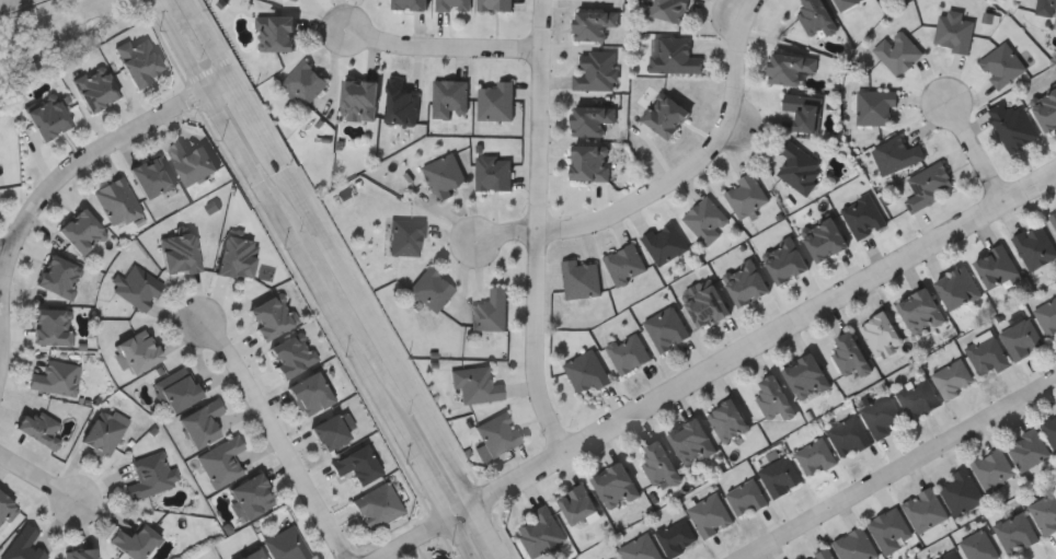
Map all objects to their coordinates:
building: (296, 0)
building: (885, 1)
building: (846, 2)
road: (11, 3)
building: (409, 4)
building: (494, 4)
building: (452, 5)
building: (1046, 7)
building: (668, 9)
building: (815, 16)
building: (593, 23)
building: (953, 32)
building: (276, 33)
road: (209, 38)
building: (897, 51)
road: (443, 54)
building: (673, 55)
building: (137, 60)
building: (1001, 65)
building: (789, 67)
building: (595, 69)
building: (303, 82)
building: (93, 90)
building: (449, 97)
building: (357, 100)
building: (495, 101)
building: (400, 103)
building: (874, 106)
building: (1045, 108)
building: (804, 110)
road: (251, 112)
building: (665, 115)
building: (590, 118)
building: (46, 119)
building: (1012, 125)
road: (976, 147)
building: (896, 154)
road: (696, 160)
building: (192, 162)
building: (588, 162)
building: (799, 167)
building: (492, 173)
building: (443, 175)
building: (149, 176)
road: (56, 180)
building: (928, 185)
building: (745, 194)
building: (116, 202)
building: (862, 216)
building: (1053, 218)
building: (707, 219)
road: (537, 226)
road: (507, 230)
building: (80, 233)
building: (405, 237)
building: (823, 237)
building: (665, 242)
building: (1034, 246)
road: (5, 251)
building: (177, 253)
building: (233, 255)
building: (784, 259)
building: (624, 263)
building: (995, 266)
building: (57, 277)
building: (579, 278)
road: (314, 279)
building: (744, 281)
building: (956, 287)
building: (137, 288)
building: (428, 290)
building: (705, 305)
building: (489, 311)
building: (919, 311)
building: (269, 315)
building: (1047, 316)
road: (372, 323)
building: (51, 327)
building: (666, 328)
building: (880, 331)
building: (1021, 338)
road: (753, 340)
building: (136, 351)
building: (628, 352)
building: (850, 354)
building: (289, 356)
building: (988, 356)
building: (586, 371)
building: (805, 376)
building: (953, 377)
building: (55, 379)
building: (474, 384)
building: (175, 391)
building: (308, 395)
building: (918, 396)
building: (773, 398)
building: (883, 416)
building: (727, 419)
building: (199, 424)
building: (1051, 429)
building: (37, 430)
building: (103, 432)
building: (328, 433)
building: (496, 434)
road: (278, 435)
building: (849, 435)
building: (691, 441)
building: (1028, 449)
building: (816, 456)
building: (221, 463)
building: (658, 465)
building: (355, 466)
building: (992, 469)
road: (899, 473)
building: (781, 476)
road: (36, 477)
building: (148, 477)
building: (615, 486)
building: (961, 491)
building: (747, 497)
building: (249, 498)
building: (576, 504)
building: (377, 506)
building: (926, 510)
building: (1045, 510)
building: (5, 511)
building: (711, 514)
road: (490, 529)
building: (892, 529)
building: (541, 532)
building: (1015, 532)
building: (677, 536)
road: (413, 537)
building: (133, 541)
building: (22, 545)
building: (286, 545)
building: (856, 545)
building: (979, 546)
building: (642, 548)
building: (80, 555)
building: (252, 555)
building: (824, 555)
building: (948, 555)
building: (615, 557)

